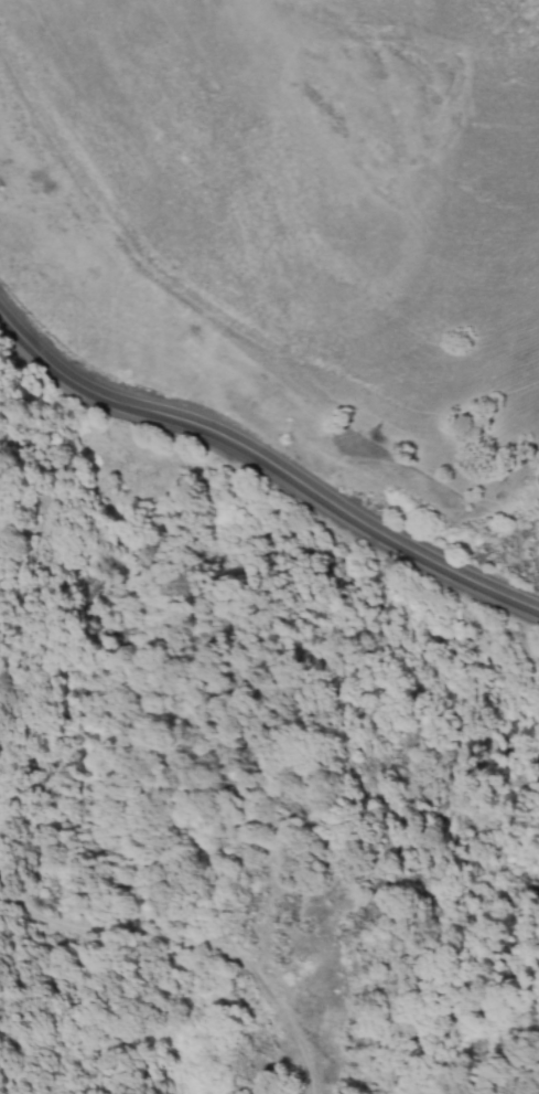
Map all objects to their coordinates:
road: (267, 460)
road: (191, 952)
park: (314, 965)
road: (9, 1086)

